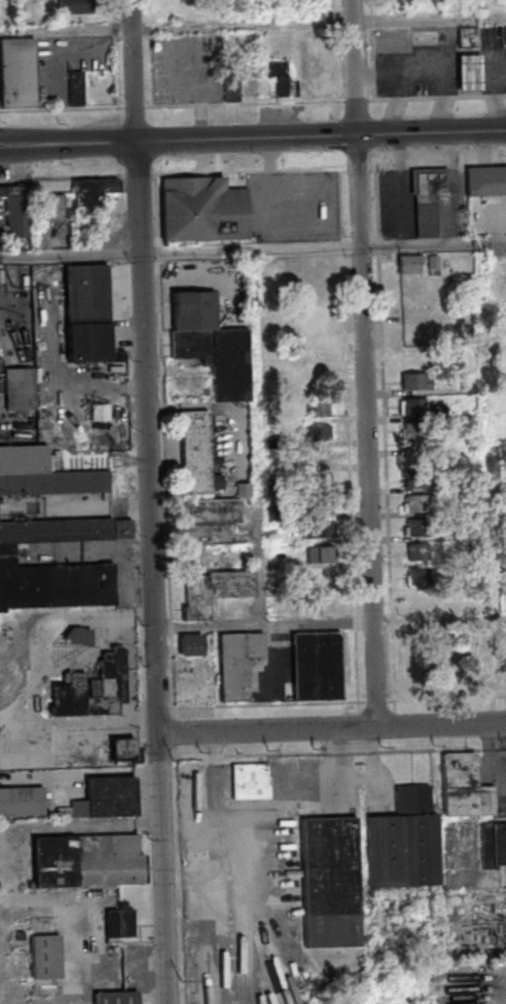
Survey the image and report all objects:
building: (75, 6)
road: (429, 20)
road: (243, 25)
road: (66, 30)
building: (505, 35)
building: (469, 37)
road: (373, 50)
road: (337, 51)
road: (153, 52)
road: (114, 53)
building: (17, 72)
road: (494, 72)
building: (470, 73)
road: (470, 73)
road: (406, 74)
building: (277, 77)
building: (75, 88)
building: (231, 89)
road: (437, 99)
road: (356, 101)
road: (498, 101)
road: (443, 103)
road: (394, 104)
road: (171, 105)
road: (252, 138)
road: (359, 169)
road: (373, 169)
road: (139, 175)
road: (153, 175)
road: (63, 177)
building: (486, 181)
road: (401, 190)
building: (89, 196)
building: (430, 199)
parking lot: (292, 205)
parking lot: (398, 205)
building: (50, 207)
building: (17, 210)
building: (203, 210)
road: (324, 249)
road: (71, 255)
building: (434, 263)
building: (410, 265)
building: (193, 312)
building: (87, 313)
building: (412, 356)
building: (219, 359)
building: (312, 359)
road: (366, 363)
building: (415, 382)
building: (19, 390)
building: (470, 390)
building: (414, 407)
building: (316, 409)
building: (99, 411)
building: (438, 412)
road: (384, 427)
building: (317, 433)
road: (348, 436)
road: (261, 437)
building: (414, 437)
road: (165, 439)
building: (197, 455)
building: (322, 456)
power tower: (116, 462)
building: (43, 476)
building: (416, 480)
building: (244, 490)
road: (151, 501)
building: (323, 503)
building: (417, 504)
building: (448, 511)
building: (211, 512)
building: (468, 525)
building: (418, 528)
building: (65, 531)
building: (316, 531)
building: (503, 532)
building: (208, 534)
building: (418, 553)
building: (321, 556)
building: (192, 559)
building: (503, 563)
building: (469, 574)
building: (419, 577)
building: (52, 585)
building: (505, 588)
building: (215, 591)
building: (420, 599)
road: (262, 623)
building: (190, 646)
building: (237, 665)
building: (317, 667)
building: (94, 690)
road: (375, 702)
road: (390, 702)
road: (332, 728)
building: (121, 750)
building: (459, 771)
building: (250, 782)
building: (107, 799)
building: (468, 802)
building: (21, 803)
building: (404, 843)
building: (499, 845)
building: (87, 861)
building: (331, 884)
building: (119, 922)
building: (45, 958)
building: (117, 998)

